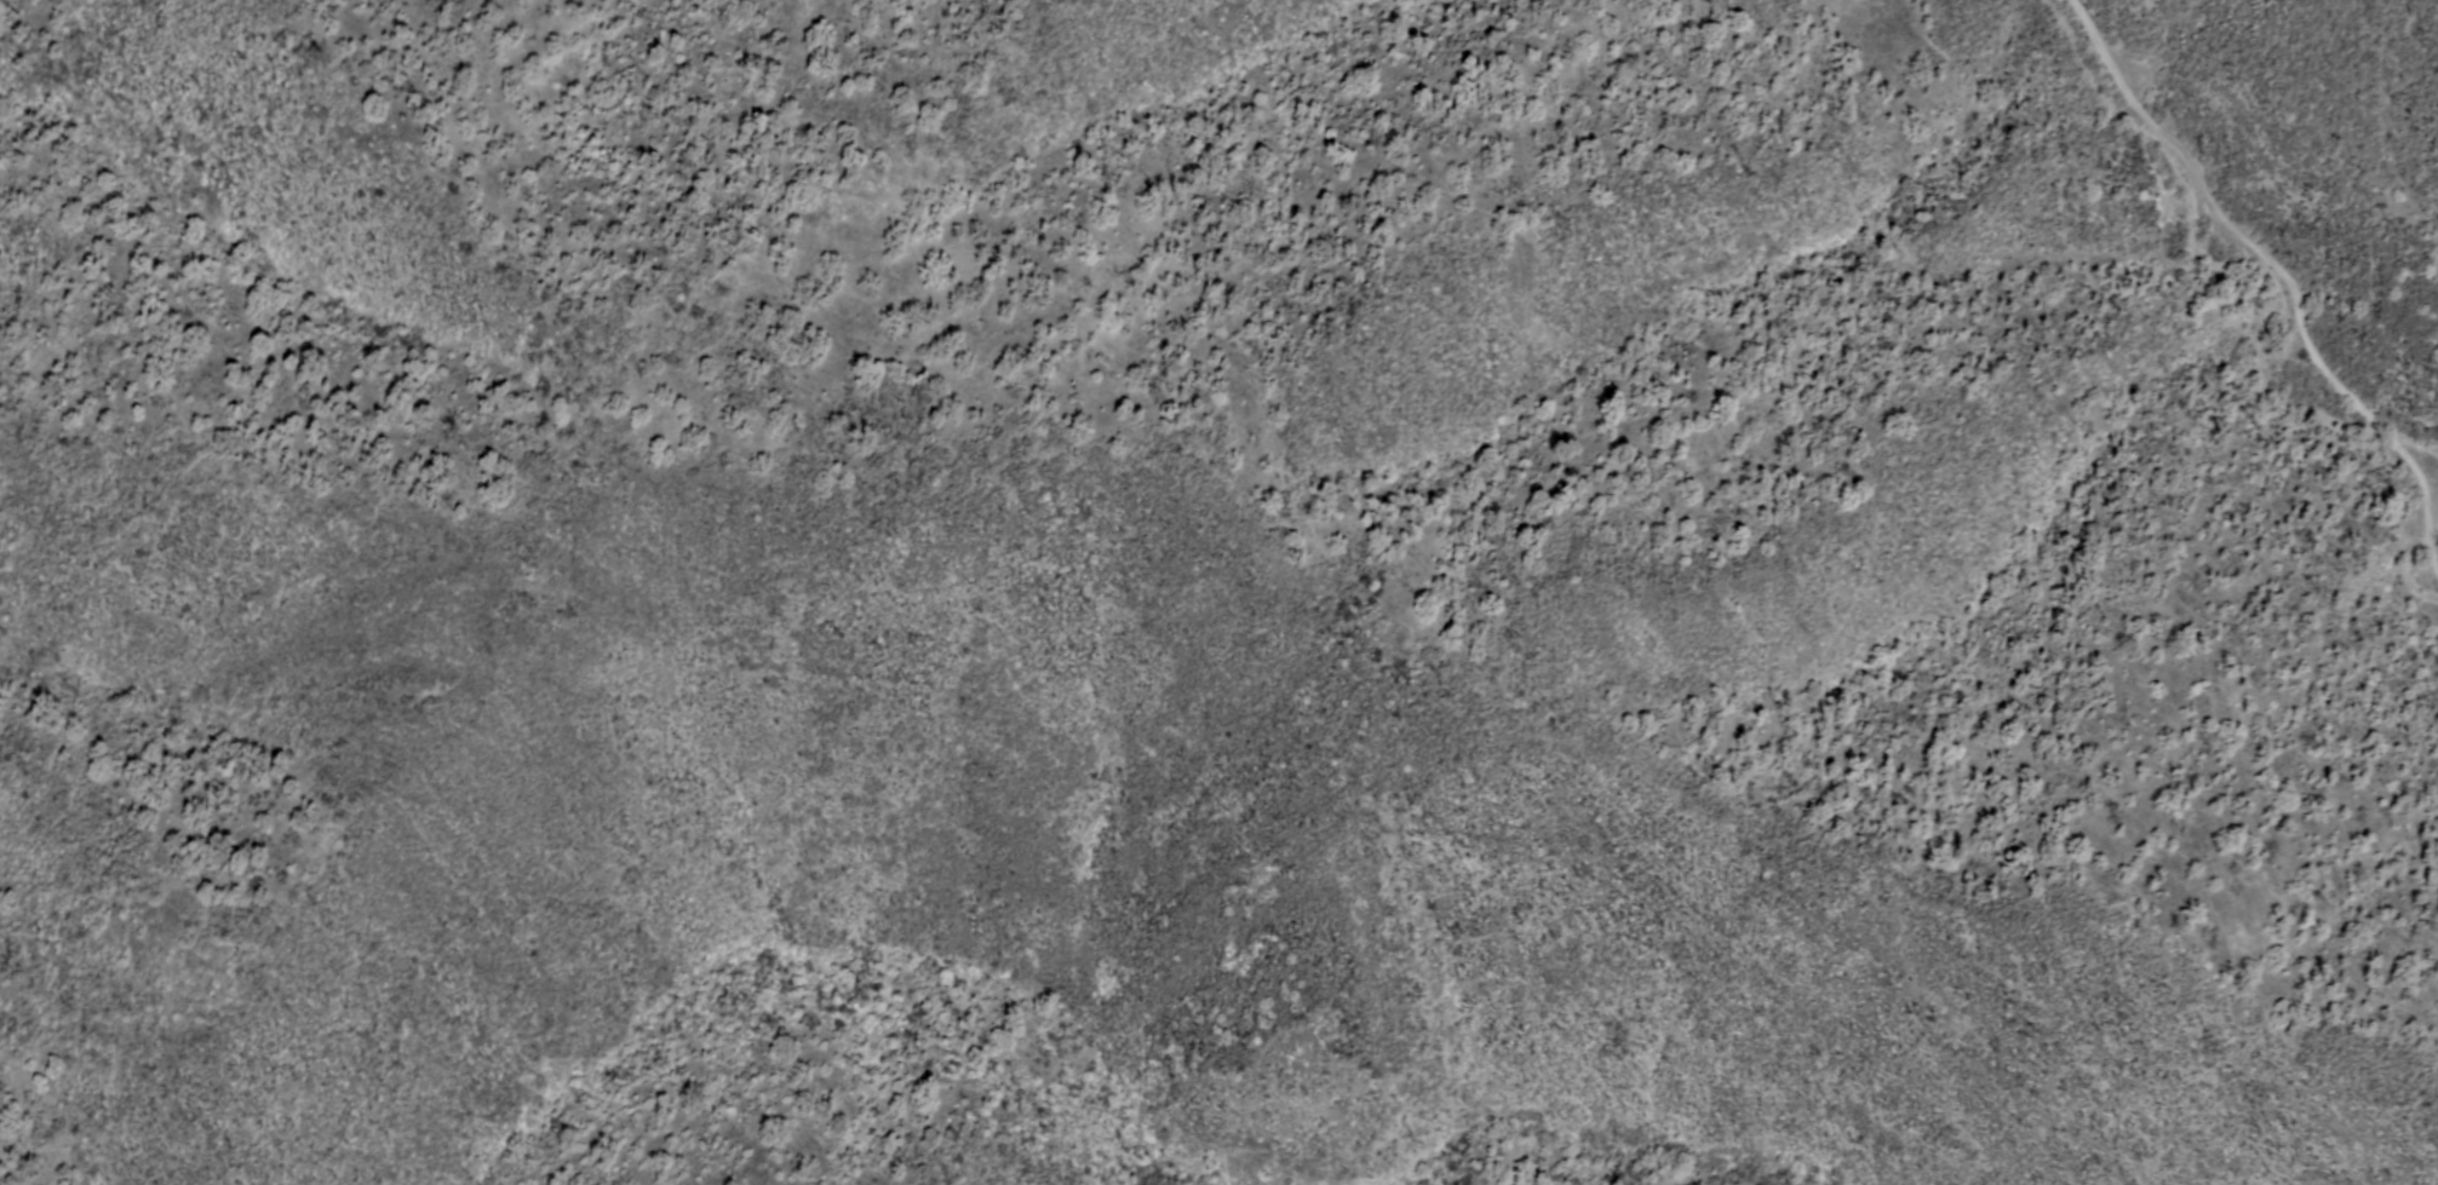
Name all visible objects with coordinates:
road: (2285, 277)

